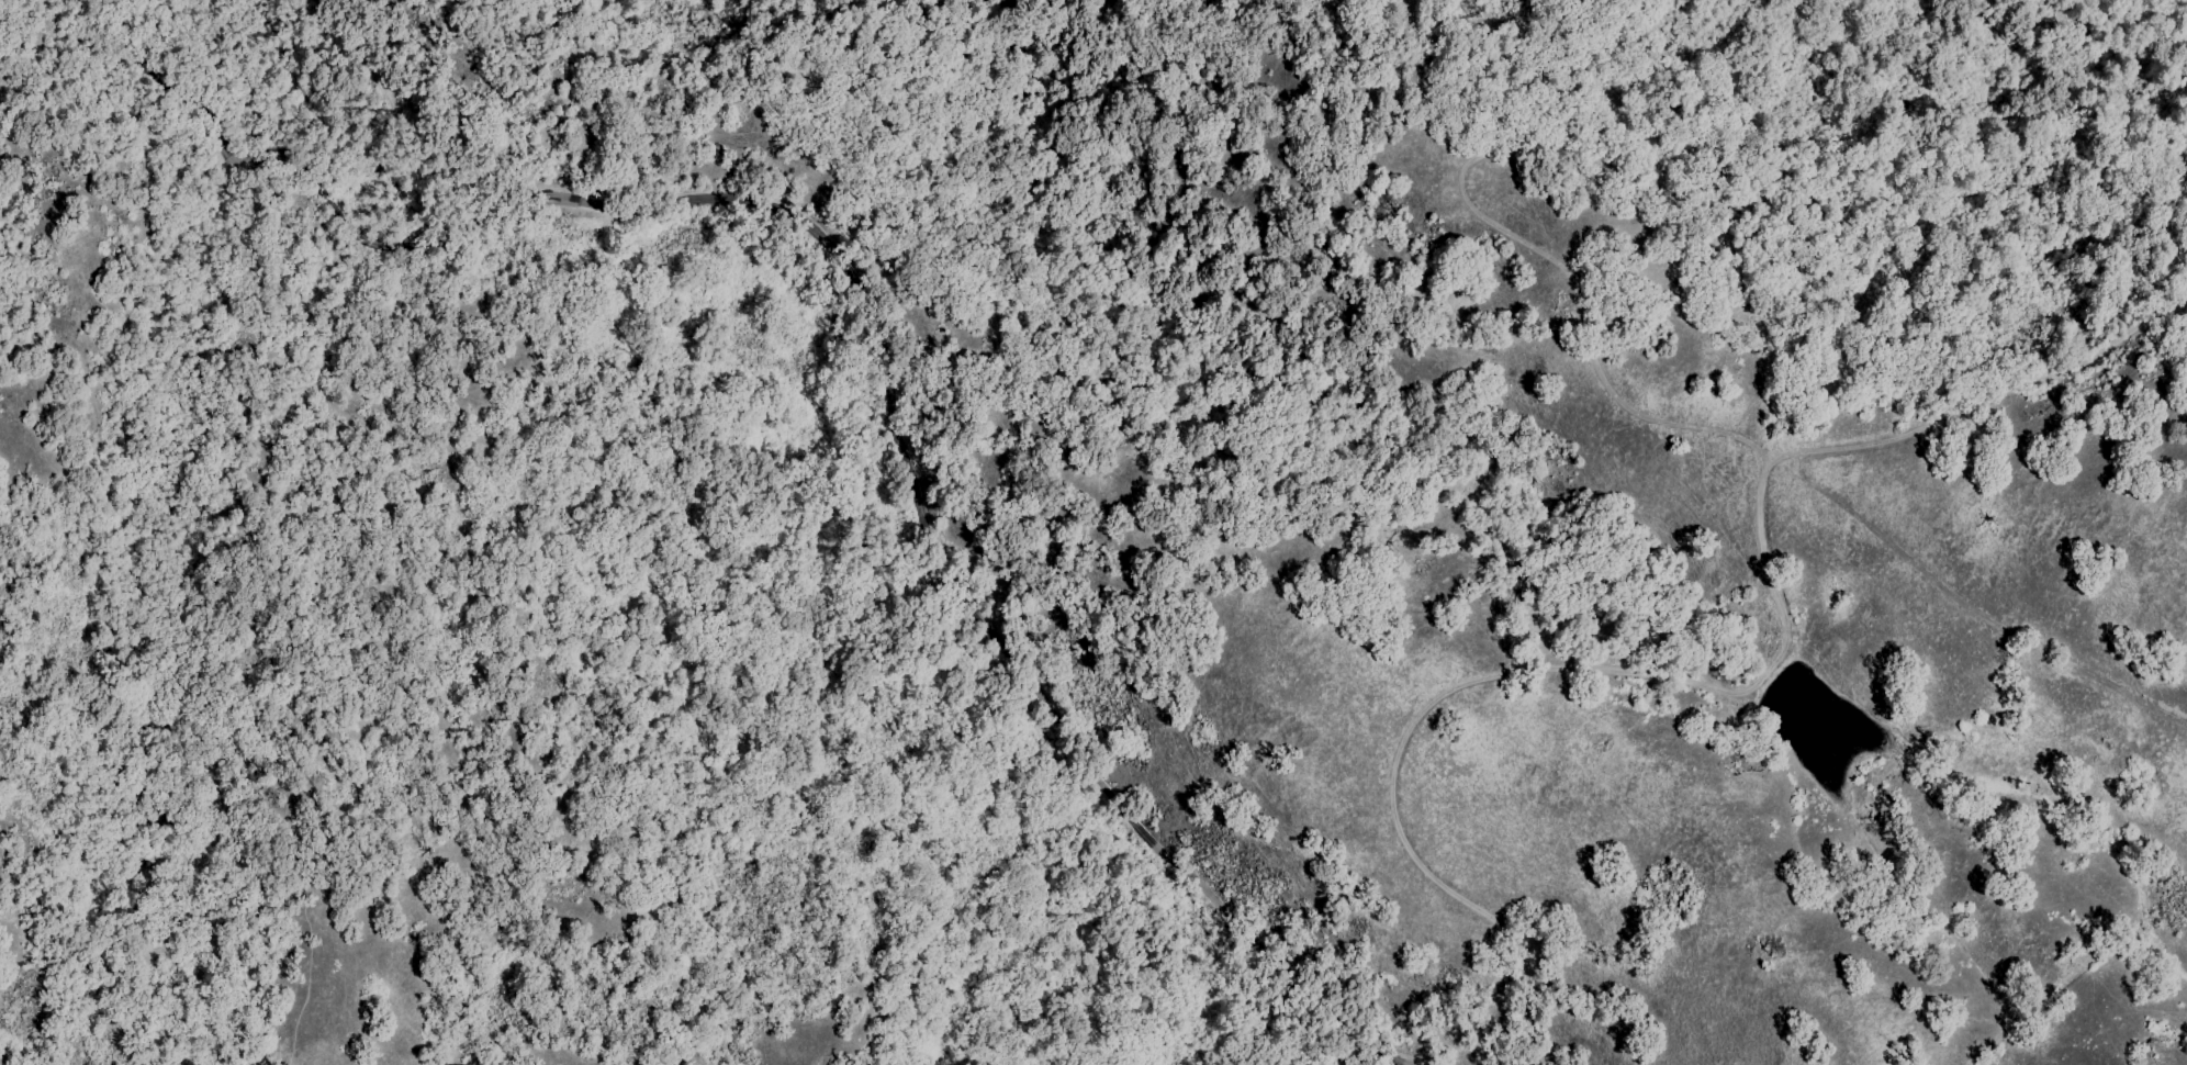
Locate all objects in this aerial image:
road: (400, 191)
road: (2161, 315)
road: (1956, 412)
road: (1028, 695)

